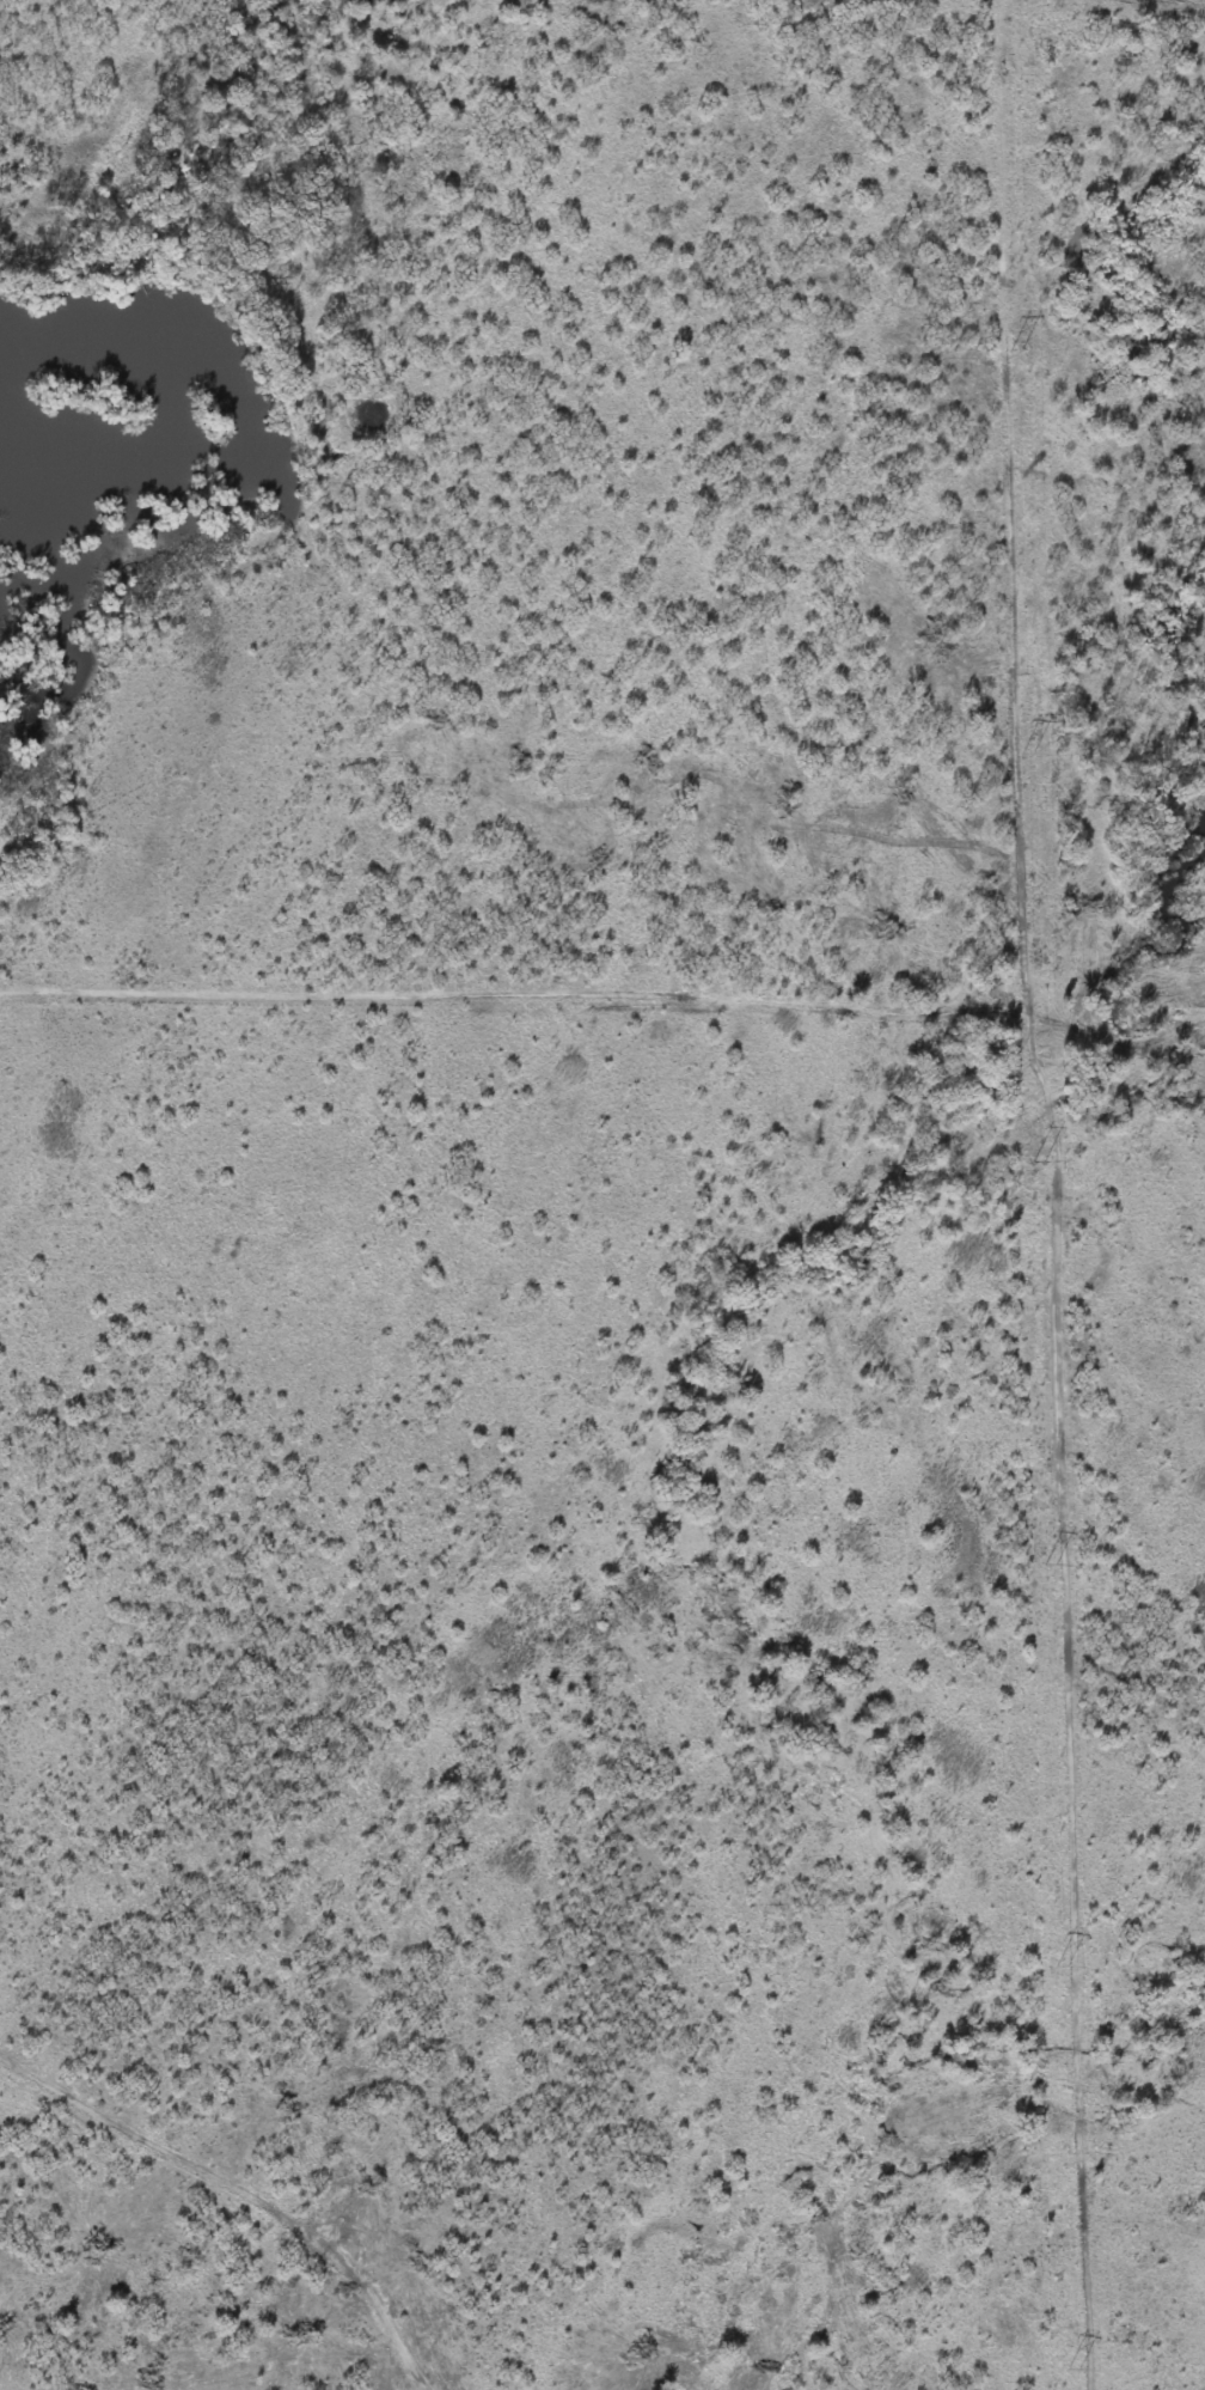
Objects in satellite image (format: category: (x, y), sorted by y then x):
road: (204, 2257)

